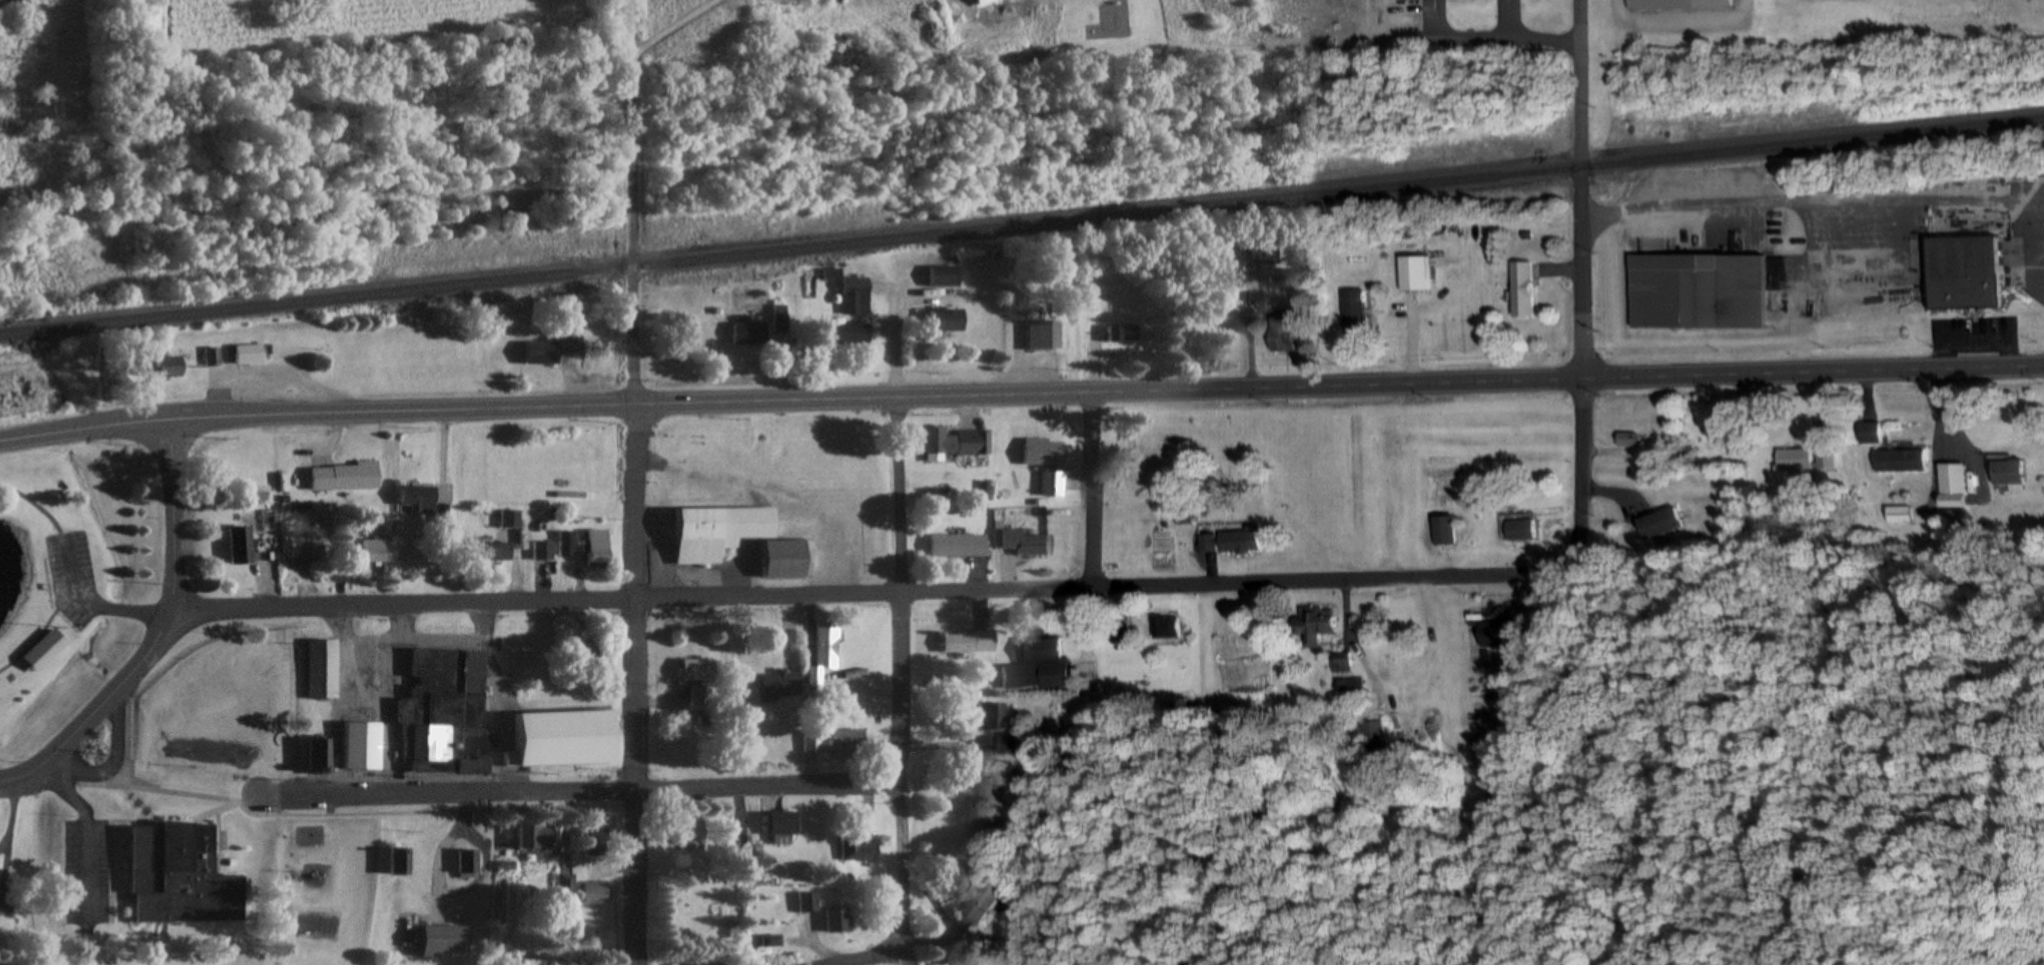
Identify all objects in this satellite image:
building: (982, 1)
building: (1675, 4)
road: (1437, 17)
road: (1508, 17)
road: (1472, 35)
road: (1580, 189)
road: (1798, 206)
railway: (1021, 226)
building: (1262, 252)
building: (1959, 272)
building: (1414, 273)
building: (944, 276)
building: (1523, 288)
building: (1693, 290)
building: (855, 296)
building: (1354, 302)
building: (946, 320)
building: (780, 321)
building: (1282, 332)
building: (1123, 333)
building: (748, 334)
building: (845, 335)
building: (1043, 336)
road: (894, 342)
building: (554, 349)
building: (249, 354)
building: (214, 356)
building: (169, 367)
road: (1021, 394)
building: (1872, 433)
building: (1630, 440)
building: (957, 443)
building: (1045, 453)
building: (1796, 459)
building: (1901, 461)
road: (1579, 471)
building: (2012, 474)
building: (345, 477)
road: (636, 482)
building: (1053, 484)
building: (1954, 486)
road: (1092, 490)
building: (420, 500)
building: (1184, 515)
building: (1898, 515)
building: (511, 519)
building: (1666, 524)
building: (1526, 530)
building: (1449, 531)
building: (718, 532)
building: (1242, 541)
building: (567, 544)
building: (1209, 544)
building: (240, 545)
building: (959, 546)
building: (598, 548)
building: (544, 551)
building: (490, 552)
building: (374, 553)
building: (784, 560)
park: (73, 578)
road: (868, 593)
road: (100, 608)
building: (1316, 625)
road: (161, 626)
building: (1166, 628)
building: (1509, 633)
road: (39, 634)
building: (968, 643)
building: (826, 647)
building: (46, 651)
building: (1041, 659)
building: (323, 670)
building: (698, 670)
road: (903, 672)
building: (779, 685)
building: (446, 713)
building: (994, 717)
building: (1377, 737)
building: (565, 739)
building: (812, 743)
building: (849, 743)
building: (1009, 745)
building: (363, 747)
building: (321, 756)
road: (115, 763)
road: (11, 778)
road: (580, 789)
building: (782, 827)
building: (693, 833)
road: (89, 834)
building: (536, 838)
building: (598, 845)
building: (745, 845)
building: (859, 850)
building: (402, 862)
building: (470, 862)
building: (182, 877)
building: (568, 885)
building: (598, 894)
building: (983, 902)
building: (8, 903)
building: (808, 903)
building: (837, 919)
building: (446, 942)
road: (869, 955)
road: (911, 956)
building: (533, 962)
park: (476, 963)

